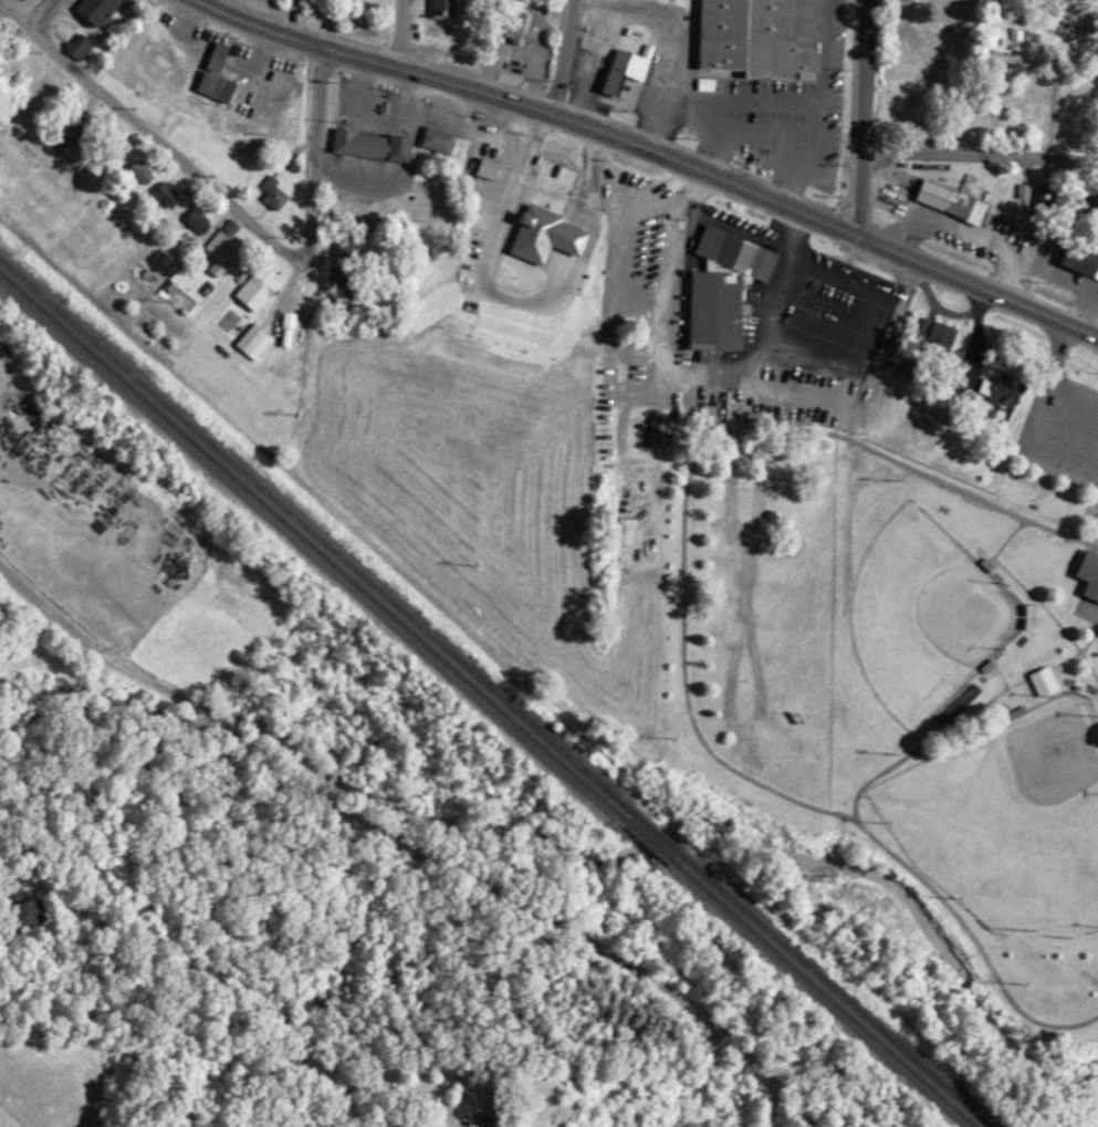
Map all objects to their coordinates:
building: (436, 6)
building: (453, 7)
building: (93, 8)
road: (42, 17)
road: (15, 20)
road: (293, 20)
building: (516, 25)
road: (399, 34)
building: (754, 34)
building: (1026, 40)
building: (75, 42)
building: (88, 45)
road: (564, 58)
building: (628, 58)
building: (228, 75)
building: (212, 83)
road: (864, 117)
building: (433, 136)
building: (449, 139)
building: (367, 140)
road: (652, 150)
road: (980, 156)
building: (482, 165)
building: (499, 167)
building: (136, 168)
building: (567, 169)
building: (151, 171)
building: (271, 190)
building: (164, 192)
building: (285, 192)
building: (1042, 192)
building: (176, 194)
building: (948, 198)
building: (1086, 200)
building: (194, 219)
building: (207, 220)
road: (244, 220)
building: (558, 234)
building: (237, 246)
building: (221, 247)
building: (1078, 257)
building: (338, 280)
building: (354, 283)
building: (253, 284)
building: (718, 284)
building: (268, 289)
building: (296, 328)
building: (931, 334)
building: (251, 338)
building: (263, 340)
road: (1058, 344)
building: (920, 367)
road: (1048, 376)
building: (1001, 387)
building: (1018, 389)
road: (1071, 398)
building: (959, 415)
parking lot: (1060, 427)
building: (653, 429)
building: (668, 432)
road: (1038, 442)
road: (688, 467)
building: (620, 525)
railway: (309, 534)
road: (1094, 534)
road: (1004, 536)
railway: (306, 545)
building: (1087, 570)
road: (1045, 613)
park: (875, 615)
road: (85, 644)
road: (209, 719)
road: (856, 818)
park: (1006, 821)
railway: (646, 833)
railway: (638, 838)
road: (536, 911)
railway: (829, 991)
railway: (819, 992)
building: (490, 1107)

